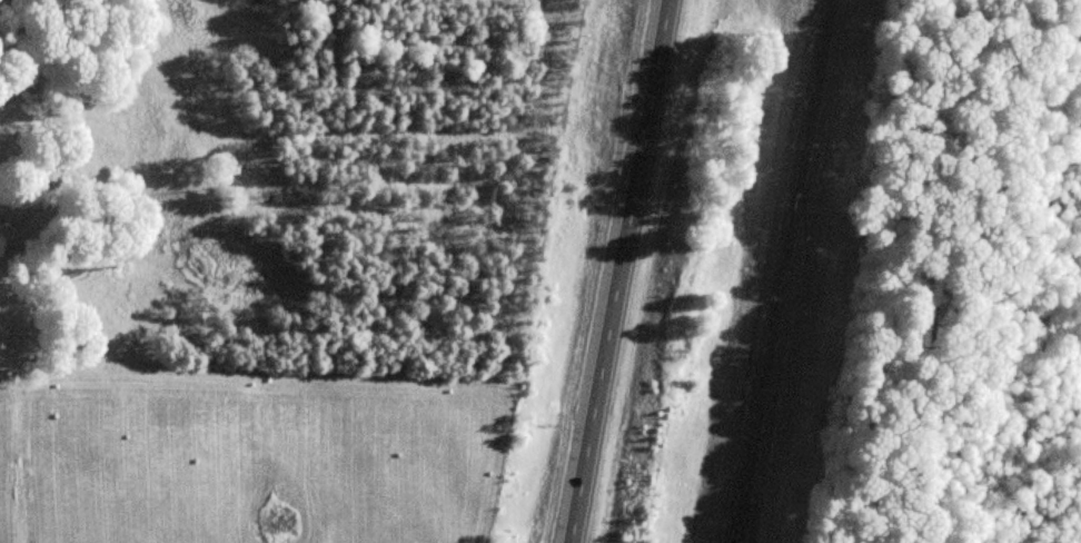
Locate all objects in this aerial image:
road: (621, 271)
road: (782, 271)

